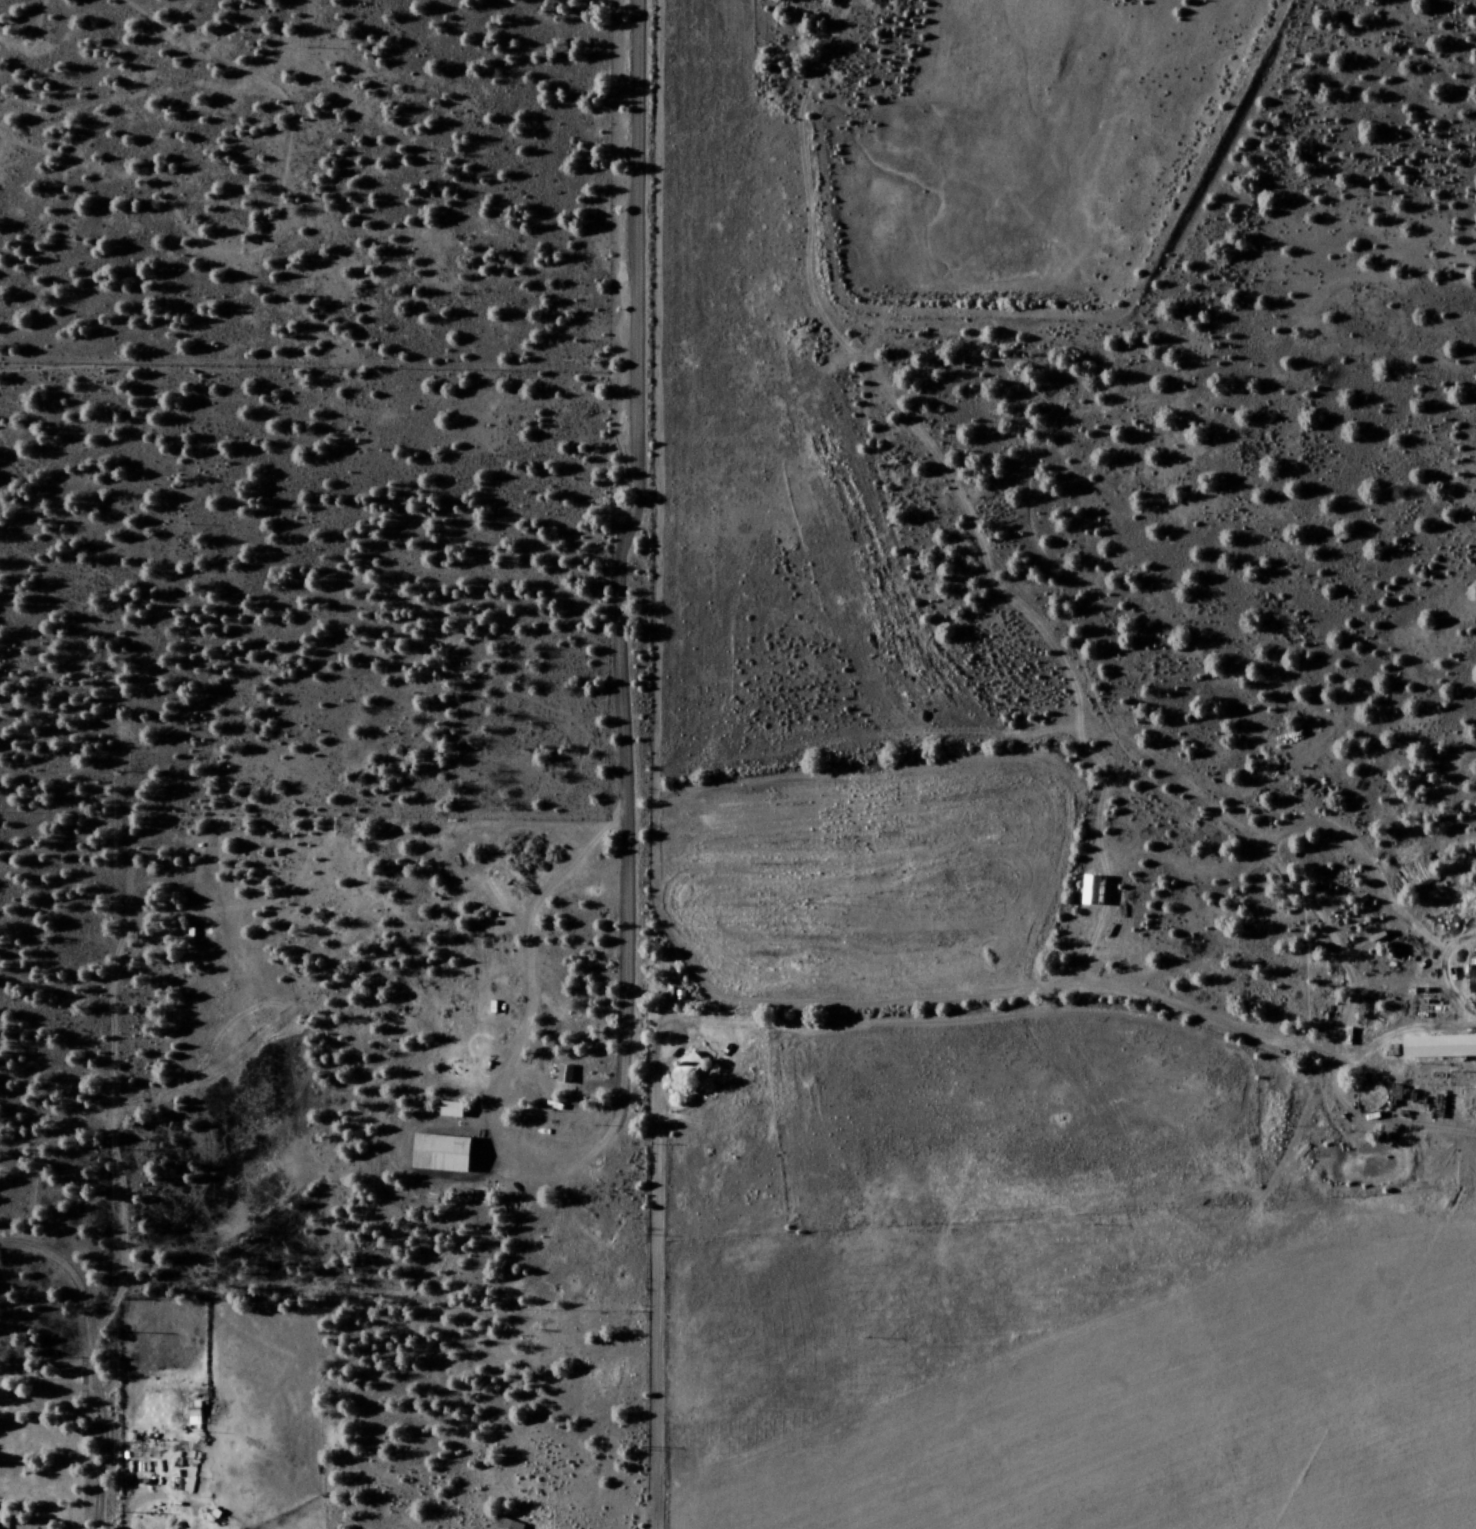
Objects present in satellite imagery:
building: (1097, 890)
building: (1472, 980)
building: (1441, 1047)
building: (692, 1066)
building: (566, 1075)
building: (447, 1153)
road: (658, 1300)
road: (91, 1359)
building: (512, 1524)

